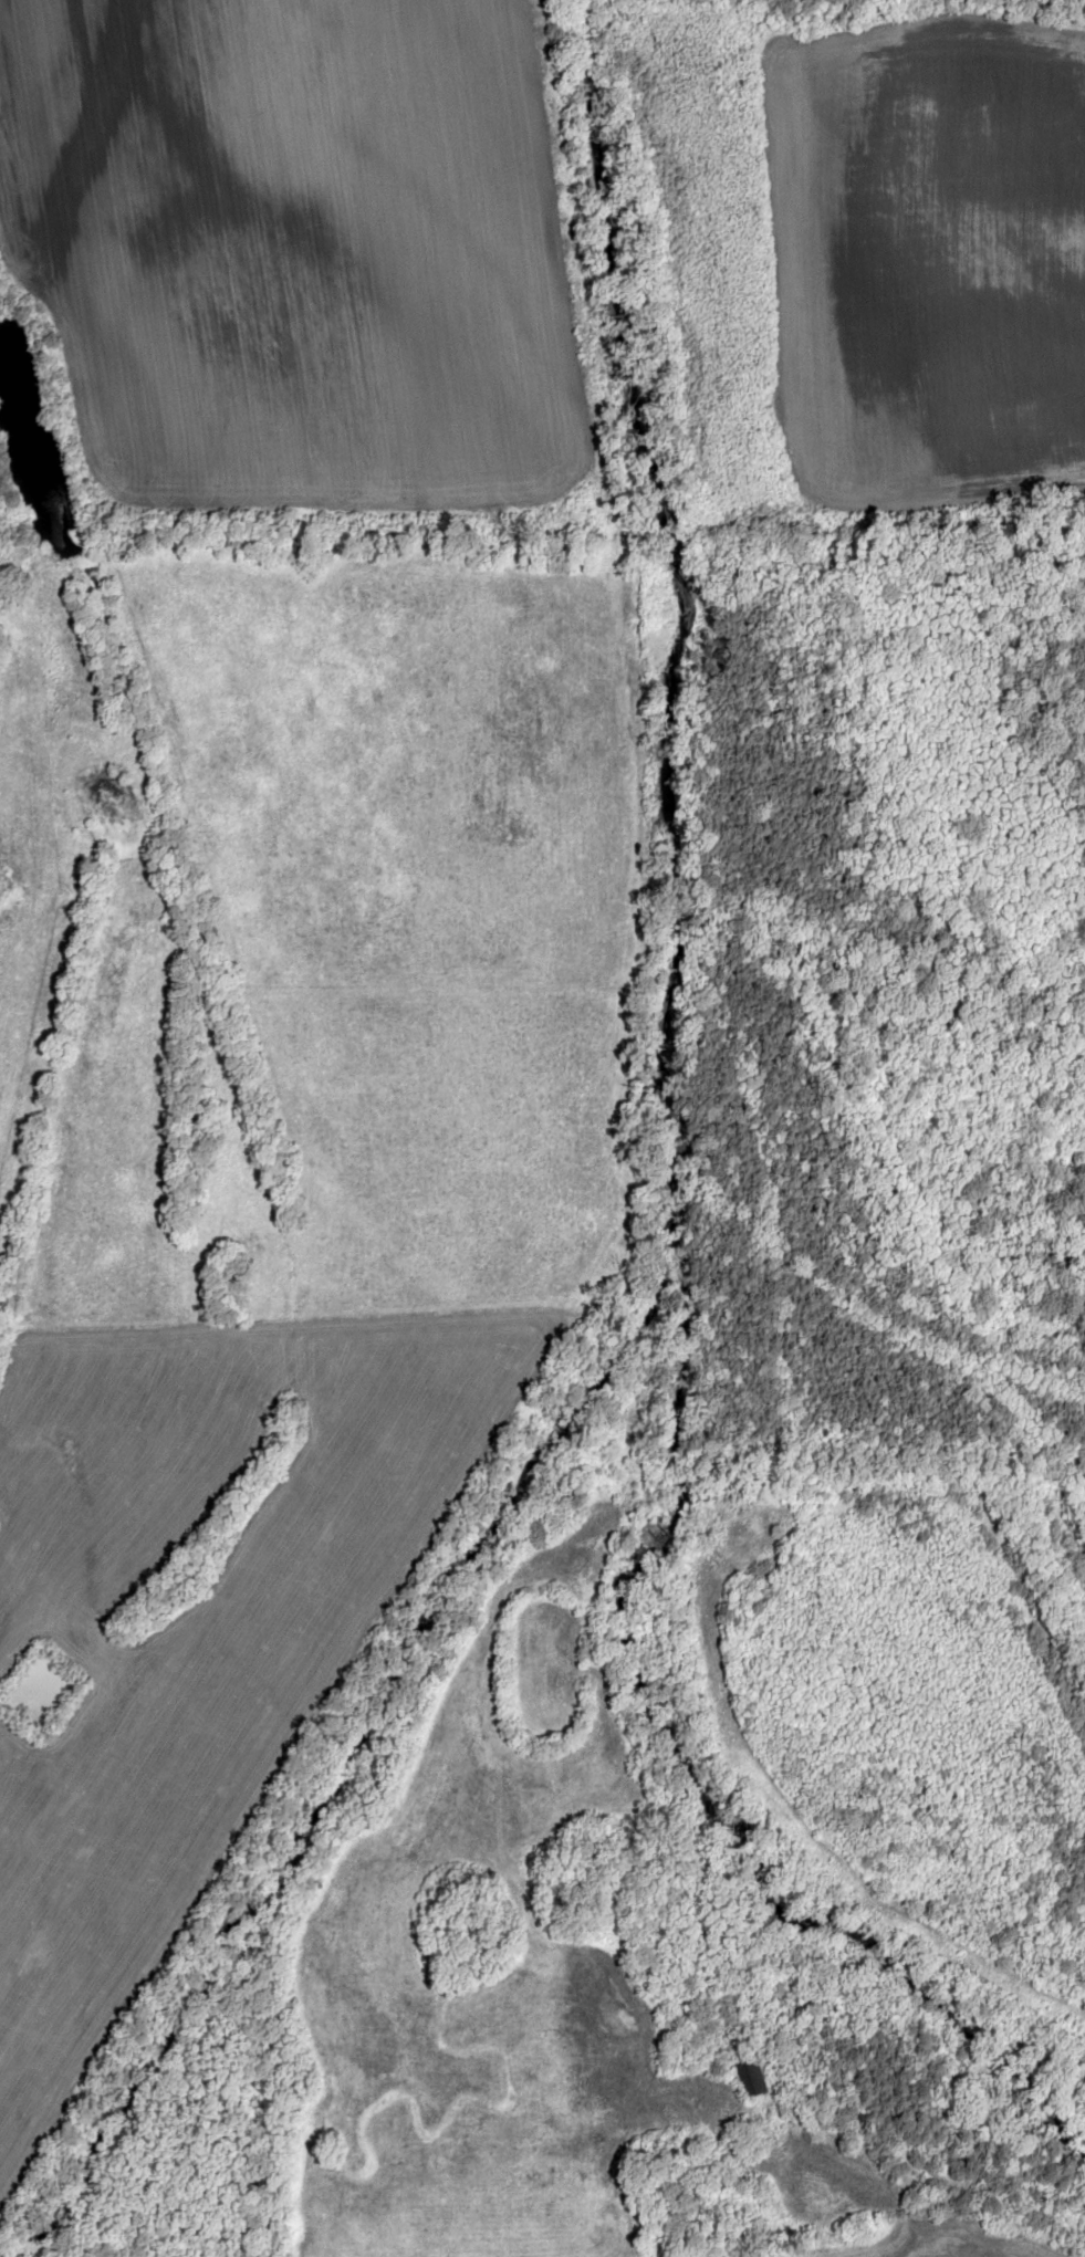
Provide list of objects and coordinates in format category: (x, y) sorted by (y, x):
road: (597, 1194)
building: (750, 2079)
building: (860, 2124)
road: (900, 2243)

